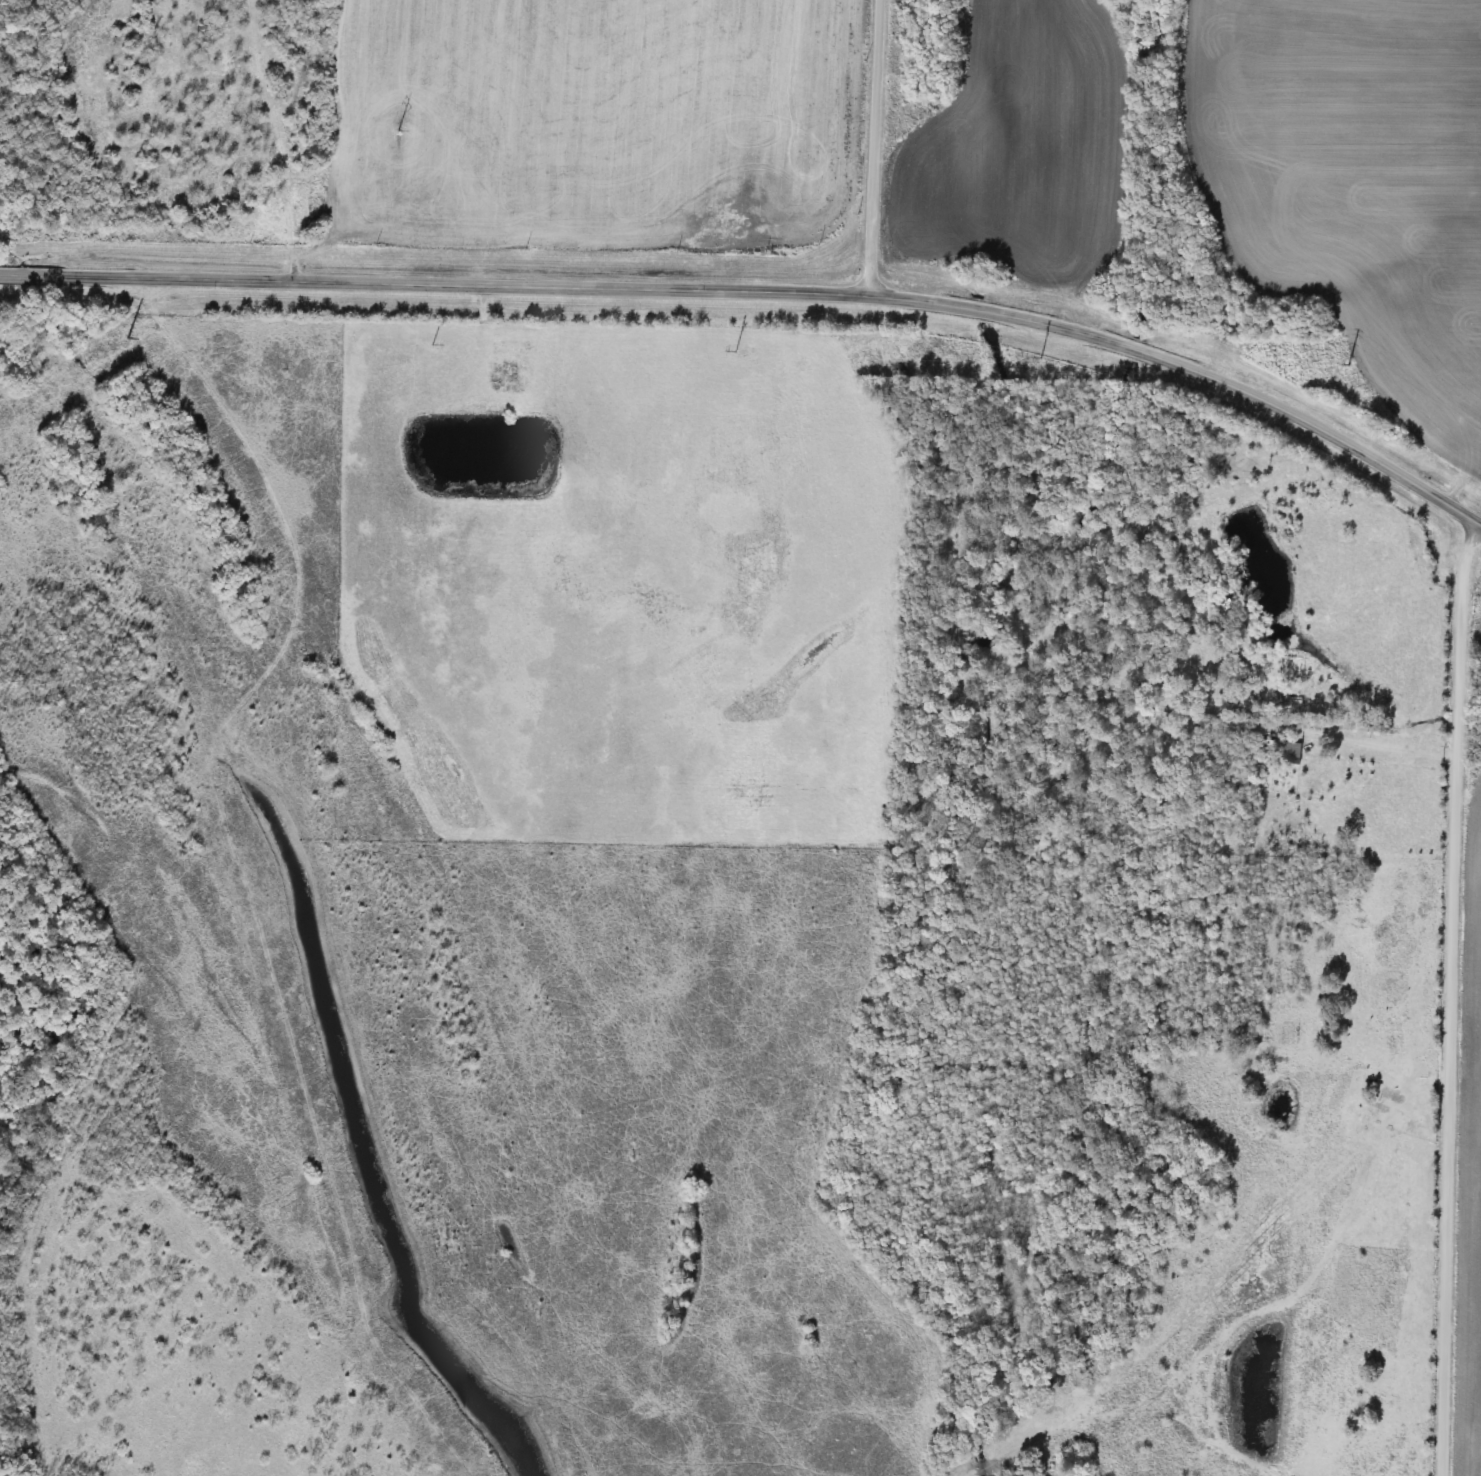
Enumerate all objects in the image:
power tower: (416, 133)
road: (874, 145)
road: (765, 291)
power tower: (130, 340)
building: (122, 471)
road: (1450, 624)
road: (1434, 1104)

